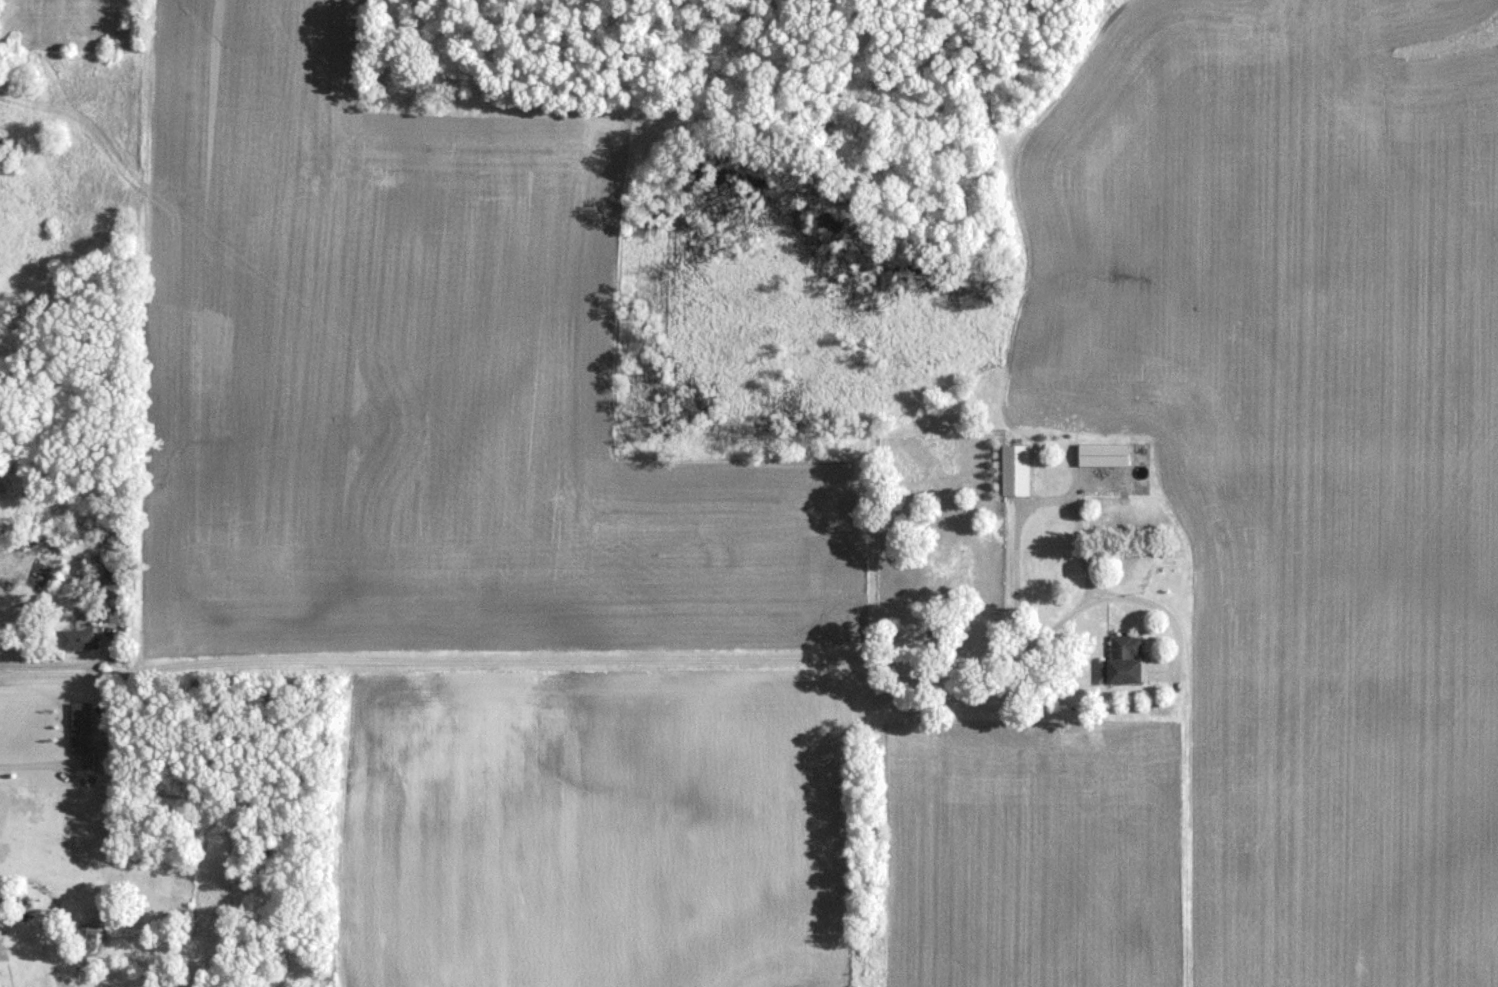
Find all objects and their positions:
building: (1098, 455)
building: (1013, 470)
road: (622, 659)
road: (51, 660)
building: (83, 727)
building: (108, 757)
road: (35, 765)

